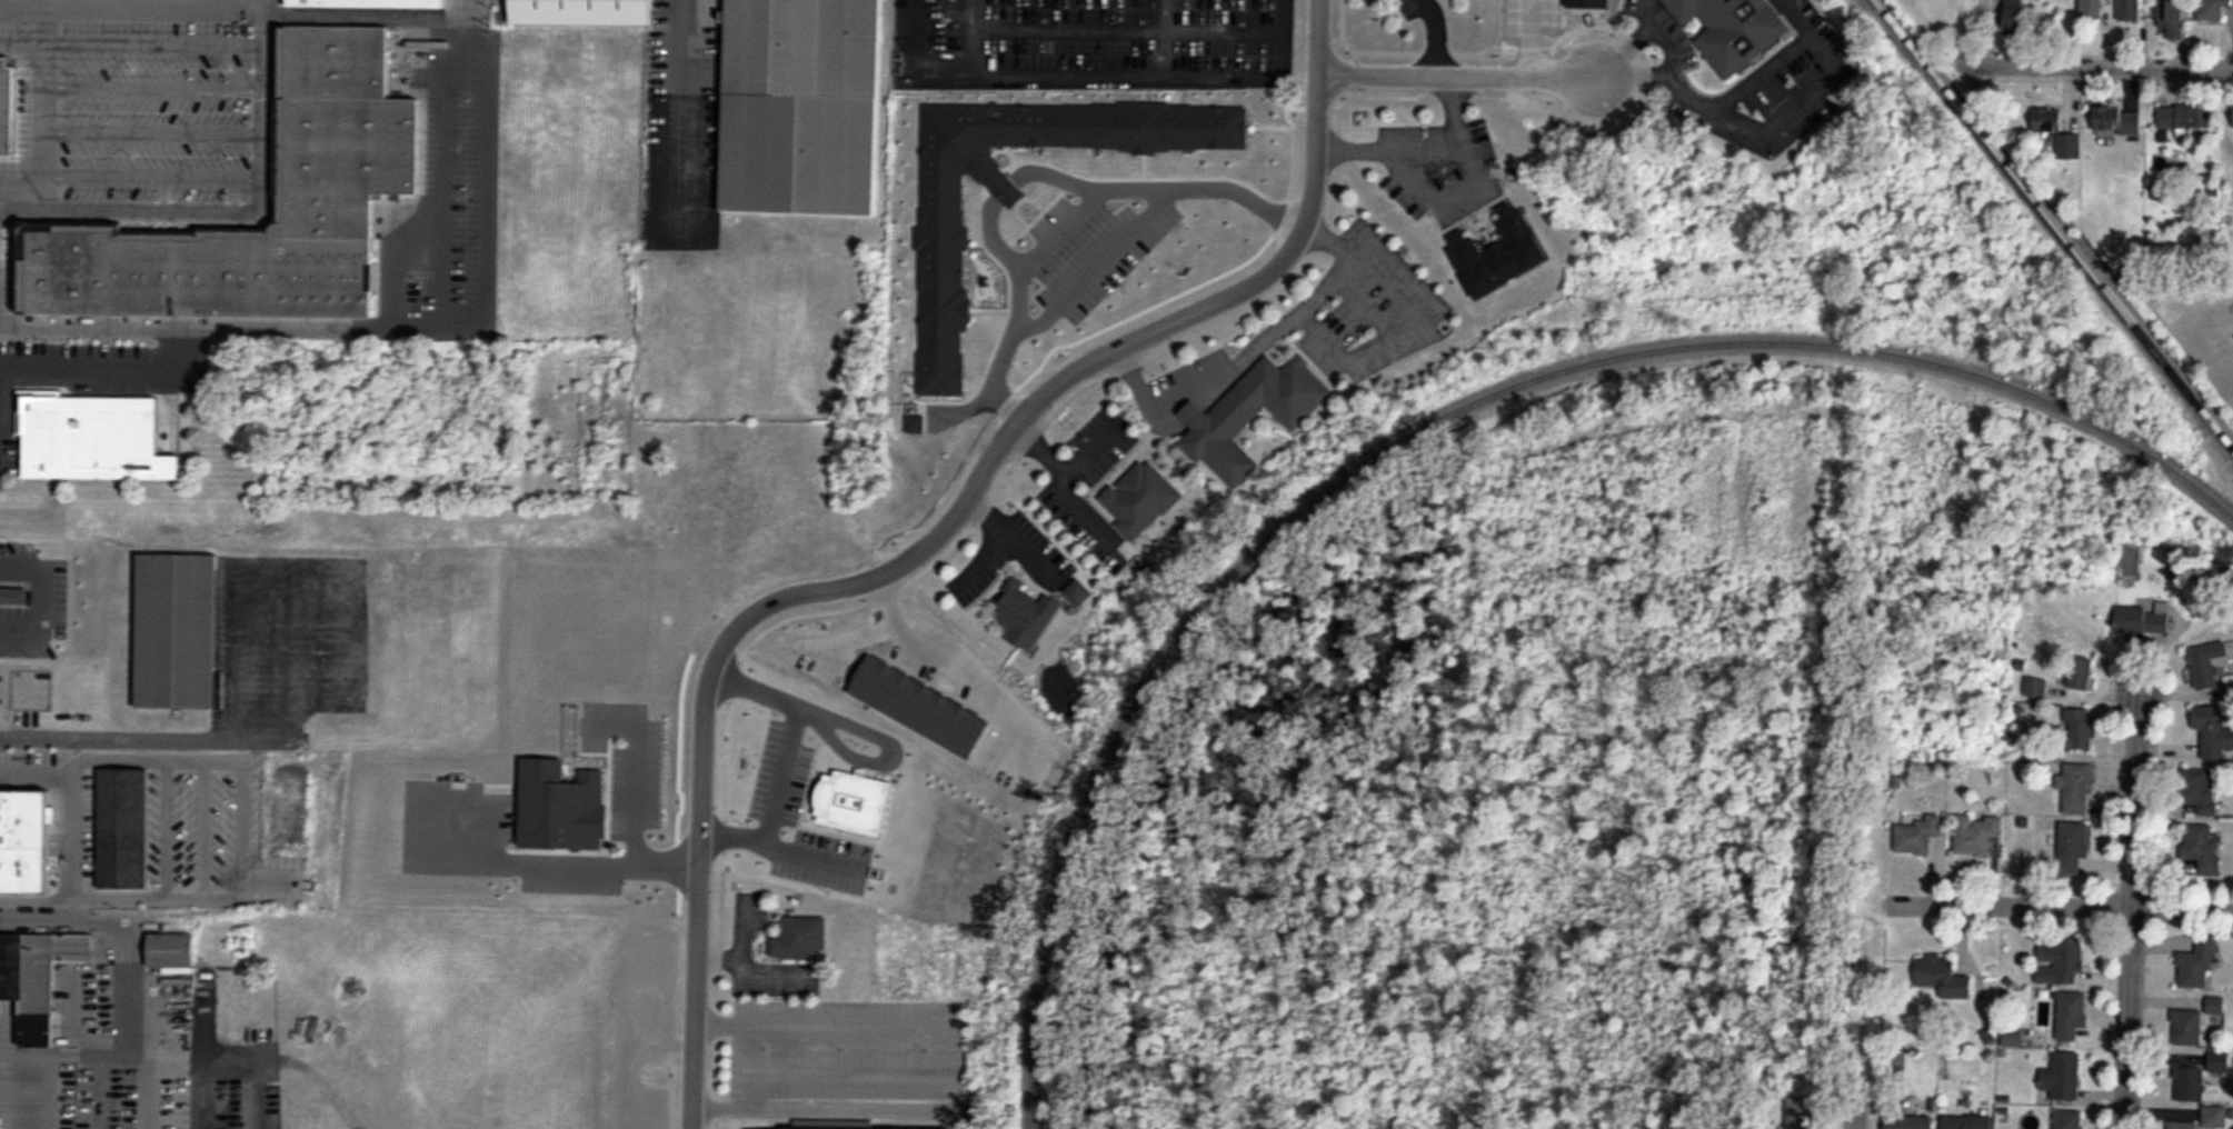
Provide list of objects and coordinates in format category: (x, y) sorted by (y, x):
building: (368, 3)
building: (2091, 10)
building: (2130, 10)
building: (2212, 10)
building: (584, 12)
building: (2173, 18)
building: (1733, 29)
road: (1432, 32)
road: (1322, 33)
road: (129, 39)
road: (1671, 44)
building: (336, 59)
road: (2115, 63)
road: (1461, 69)
road: (148, 84)
road: (678, 98)
road: (256, 102)
road: (1722, 106)
building: (803, 107)
building: (7, 108)
building: (2185, 118)
building: (2048, 119)
building: (2117, 120)
road: (38, 121)
road: (147, 127)
road: (1425, 147)
building: (2070, 147)
road: (476, 163)
road: (146, 171)
road: (18, 183)
road: (1443, 199)
road: (144, 204)
road: (1074, 207)
railway: (2054, 222)
building: (246, 230)
building: (1497, 252)
road: (237, 322)
road: (169, 347)
road: (84, 370)
railway: (1971, 373)
building: (1253, 413)
building: (89, 442)
road: (1037, 447)
road: (1056, 483)
building: (1139, 497)
road: (1010, 533)
road: (980, 554)
road: (901, 559)
road: (297, 566)
building: (1077, 590)
building: (14, 592)
road: (42, 592)
building: (1024, 613)
building: (2142, 620)
railway: (1218, 626)
building: (177, 632)
building: (2210, 663)
building: (2080, 672)
building: (2229, 682)
building: (2035, 688)
building: (2080, 727)
building: (2214, 732)
road: (119, 741)
building: (2075, 788)
building: (2201, 790)
building: (122, 827)
building: (1916, 833)
building: (1980, 833)
building: (24, 839)
building: (2202, 848)
building: (2073, 849)
road: (2061, 901)
road: (2126, 902)
road: (737, 926)
building: (800, 938)
building: (171, 949)
building: (2060, 960)
building: (2199, 963)
road: (750, 966)
building: (37, 976)
building: (1943, 977)
building: (2071, 1013)
building: (2186, 1027)
road: (741, 1039)
building: (2219, 1061)
building: (2062, 1077)
building: (2189, 1083)
road: (835, 1106)
road: (1853, 1110)
building: (1797, 1112)
building: (2215, 1117)
building: (2067, 1119)
building: (1911, 1121)
building: (1966, 1122)
building: (2184, 1125)
building: (749, 1128)

